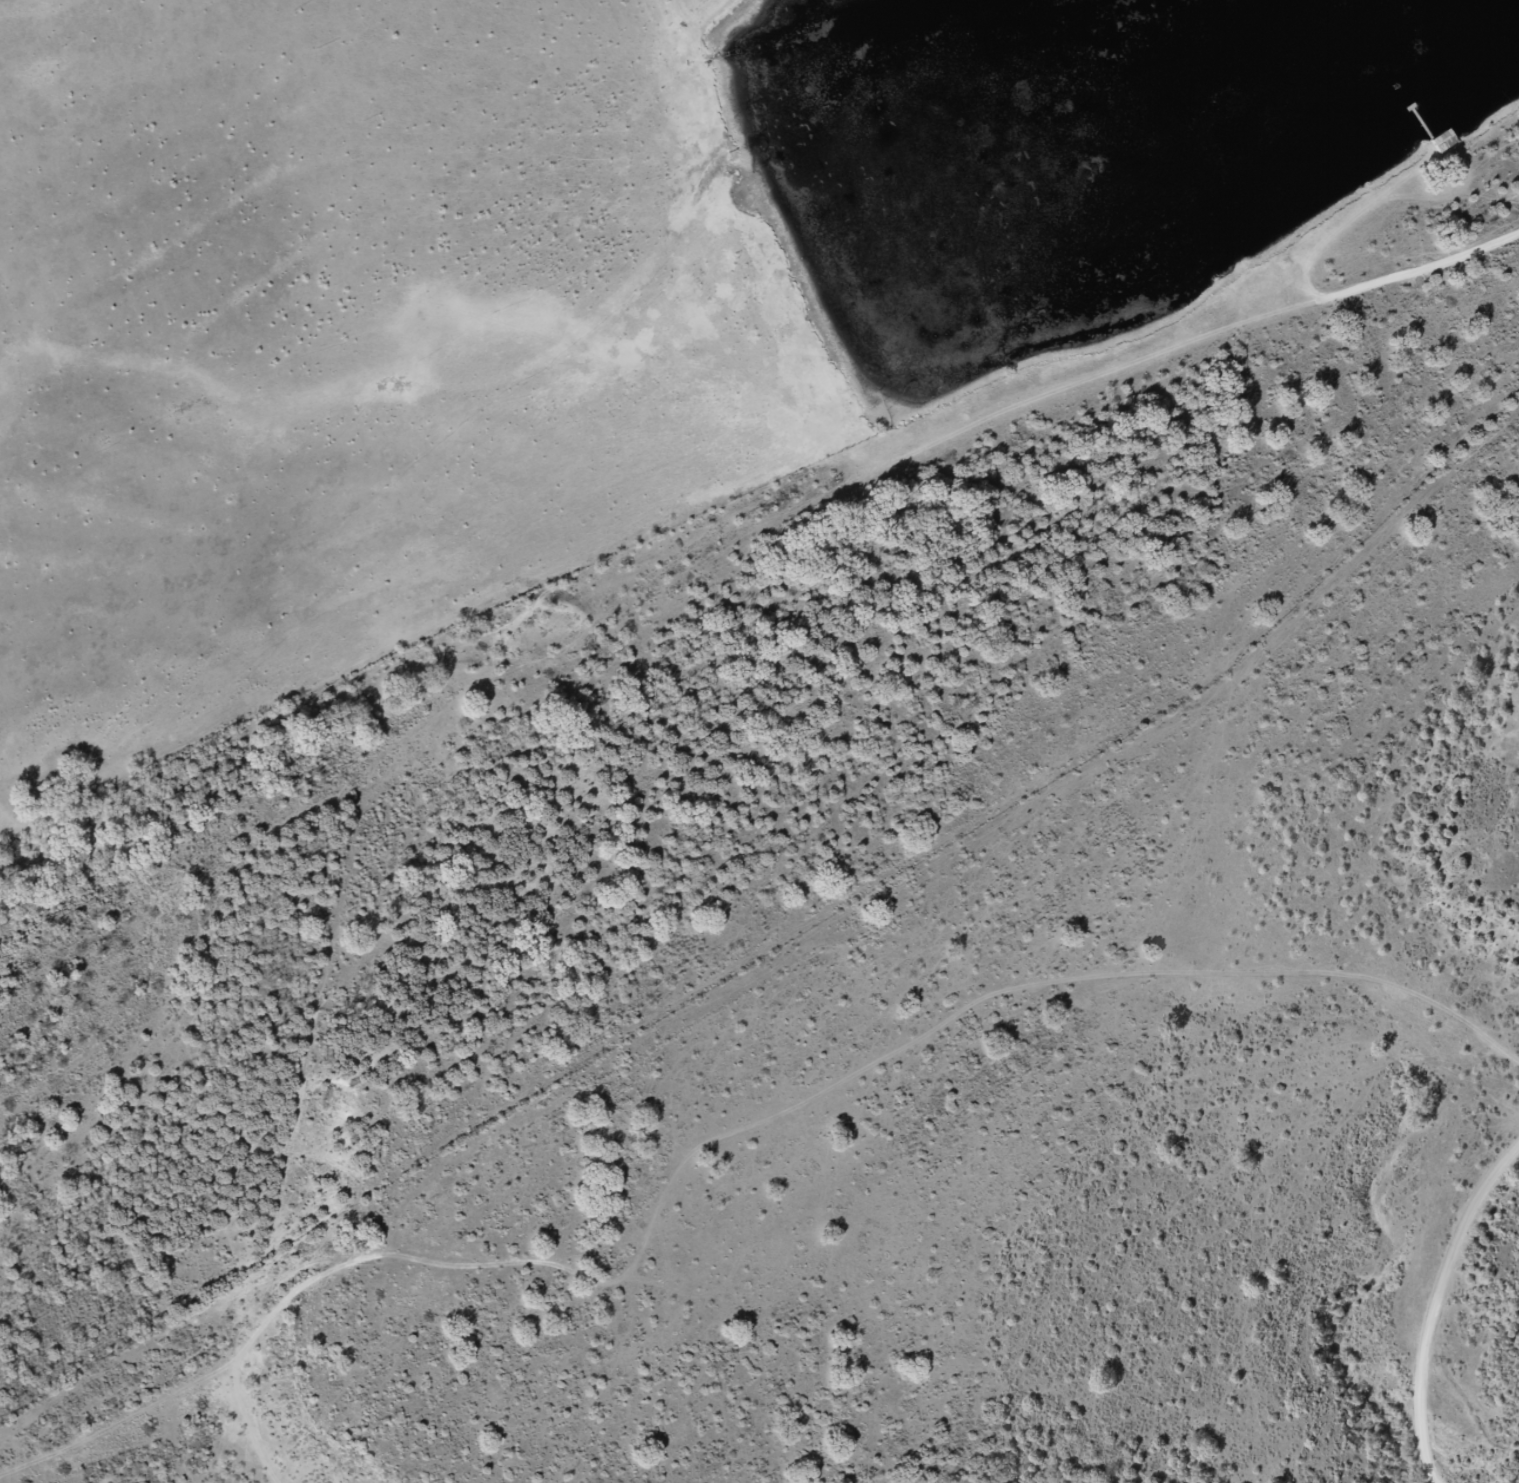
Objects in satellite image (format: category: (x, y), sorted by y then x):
building: (1442, 142)
road: (1233, 395)
road: (840, 1126)
road: (1463, 1359)

